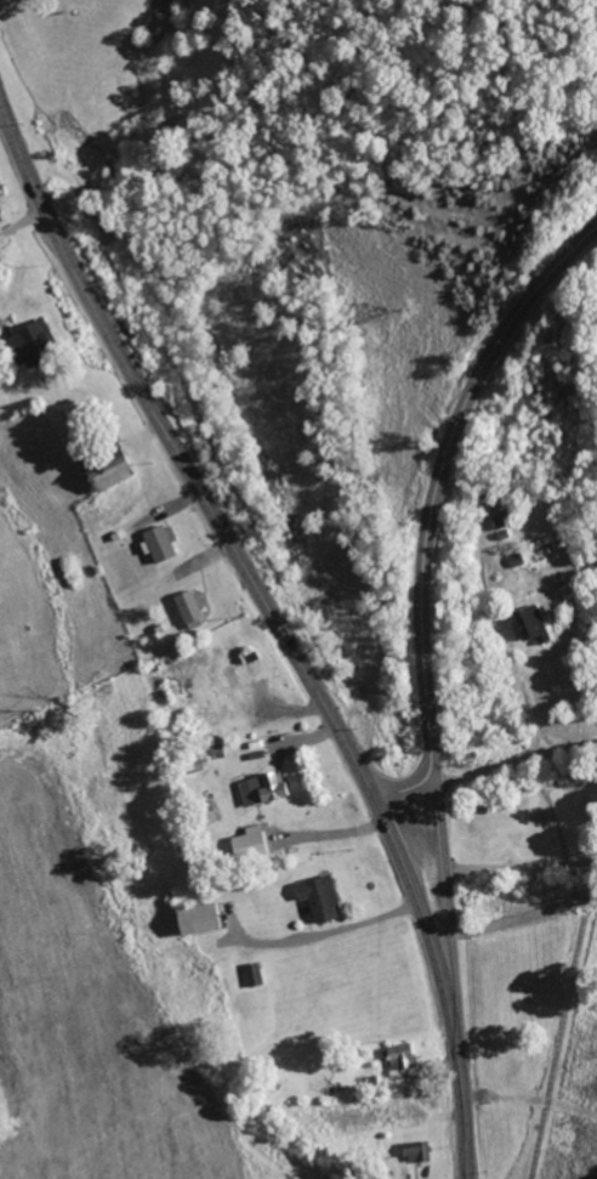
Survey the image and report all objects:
building: (30, 339)
building: (107, 474)
road: (432, 505)
building: (157, 543)
building: (188, 606)
road: (278, 624)
building: (533, 625)
building: (233, 693)
road: (530, 722)
road: (517, 766)
building: (263, 789)
building: (245, 843)
building: (317, 897)
building: (193, 920)
road: (450, 920)
building: (399, 1058)
building: (419, 1154)

